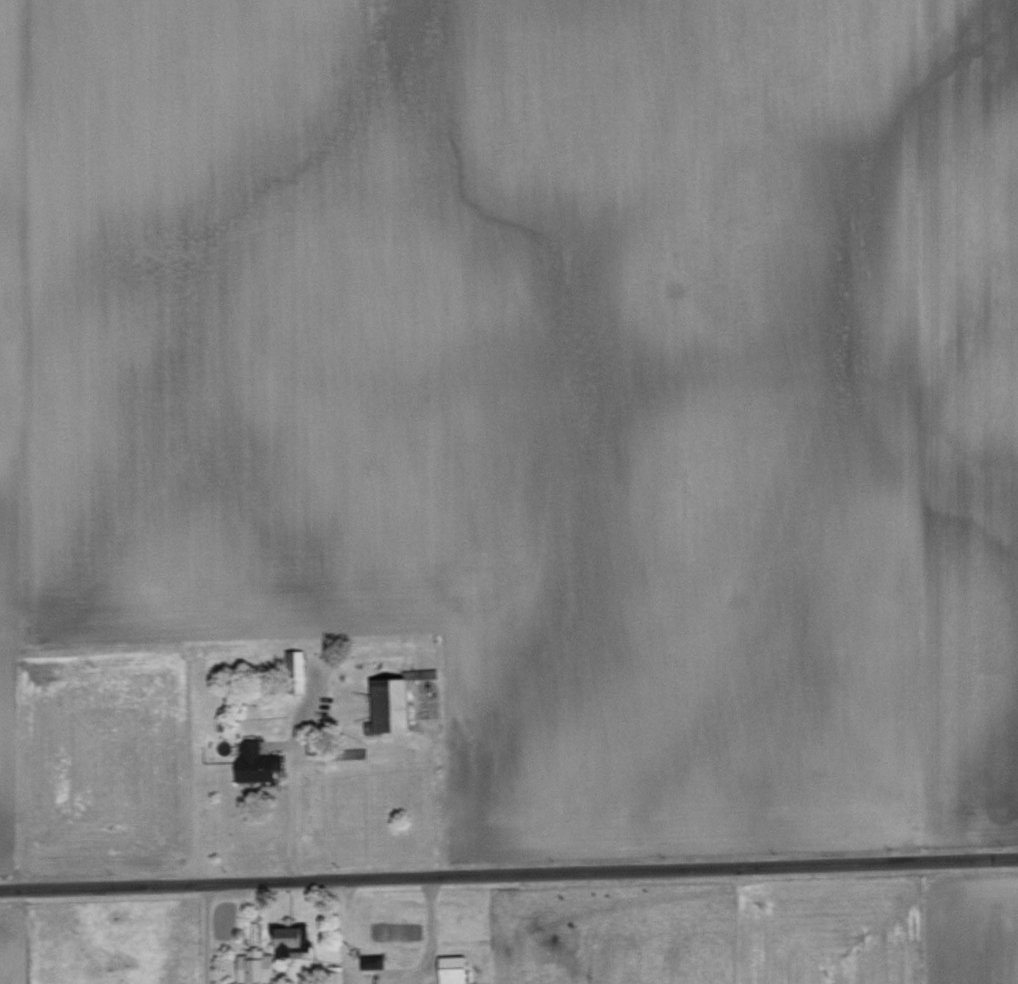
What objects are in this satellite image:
building: (296, 658)
building: (394, 702)
building: (256, 761)
road: (288, 802)
road: (508, 873)
road: (203, 933)
road: (338, 933)
building: (455, 969)

